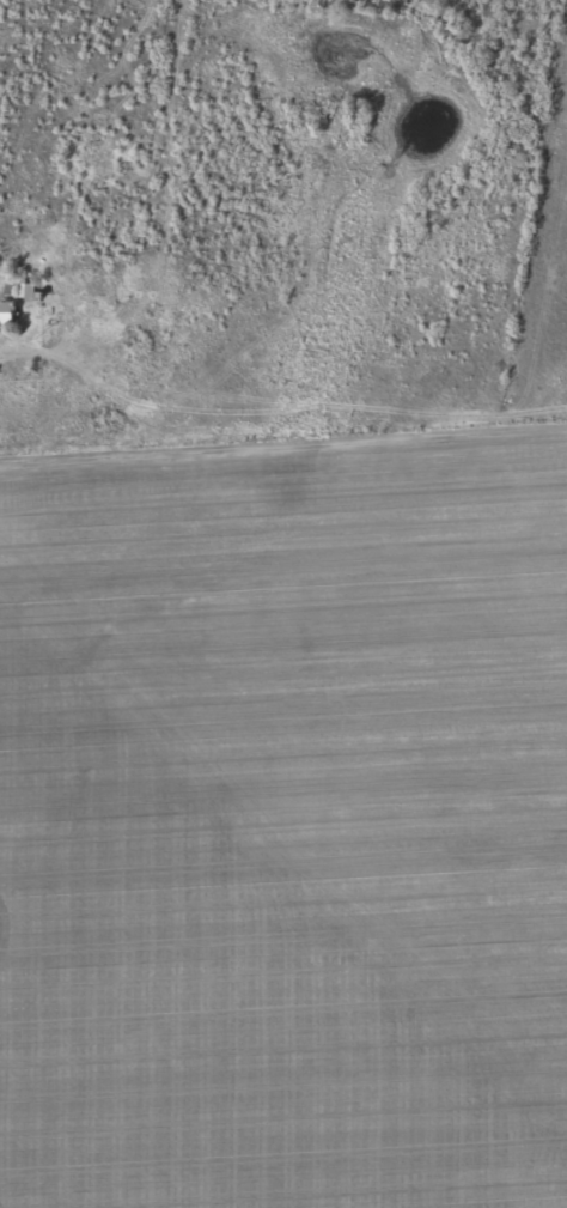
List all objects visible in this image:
building: (24, 292)
building: (5, 314)
road: (283, 427)

